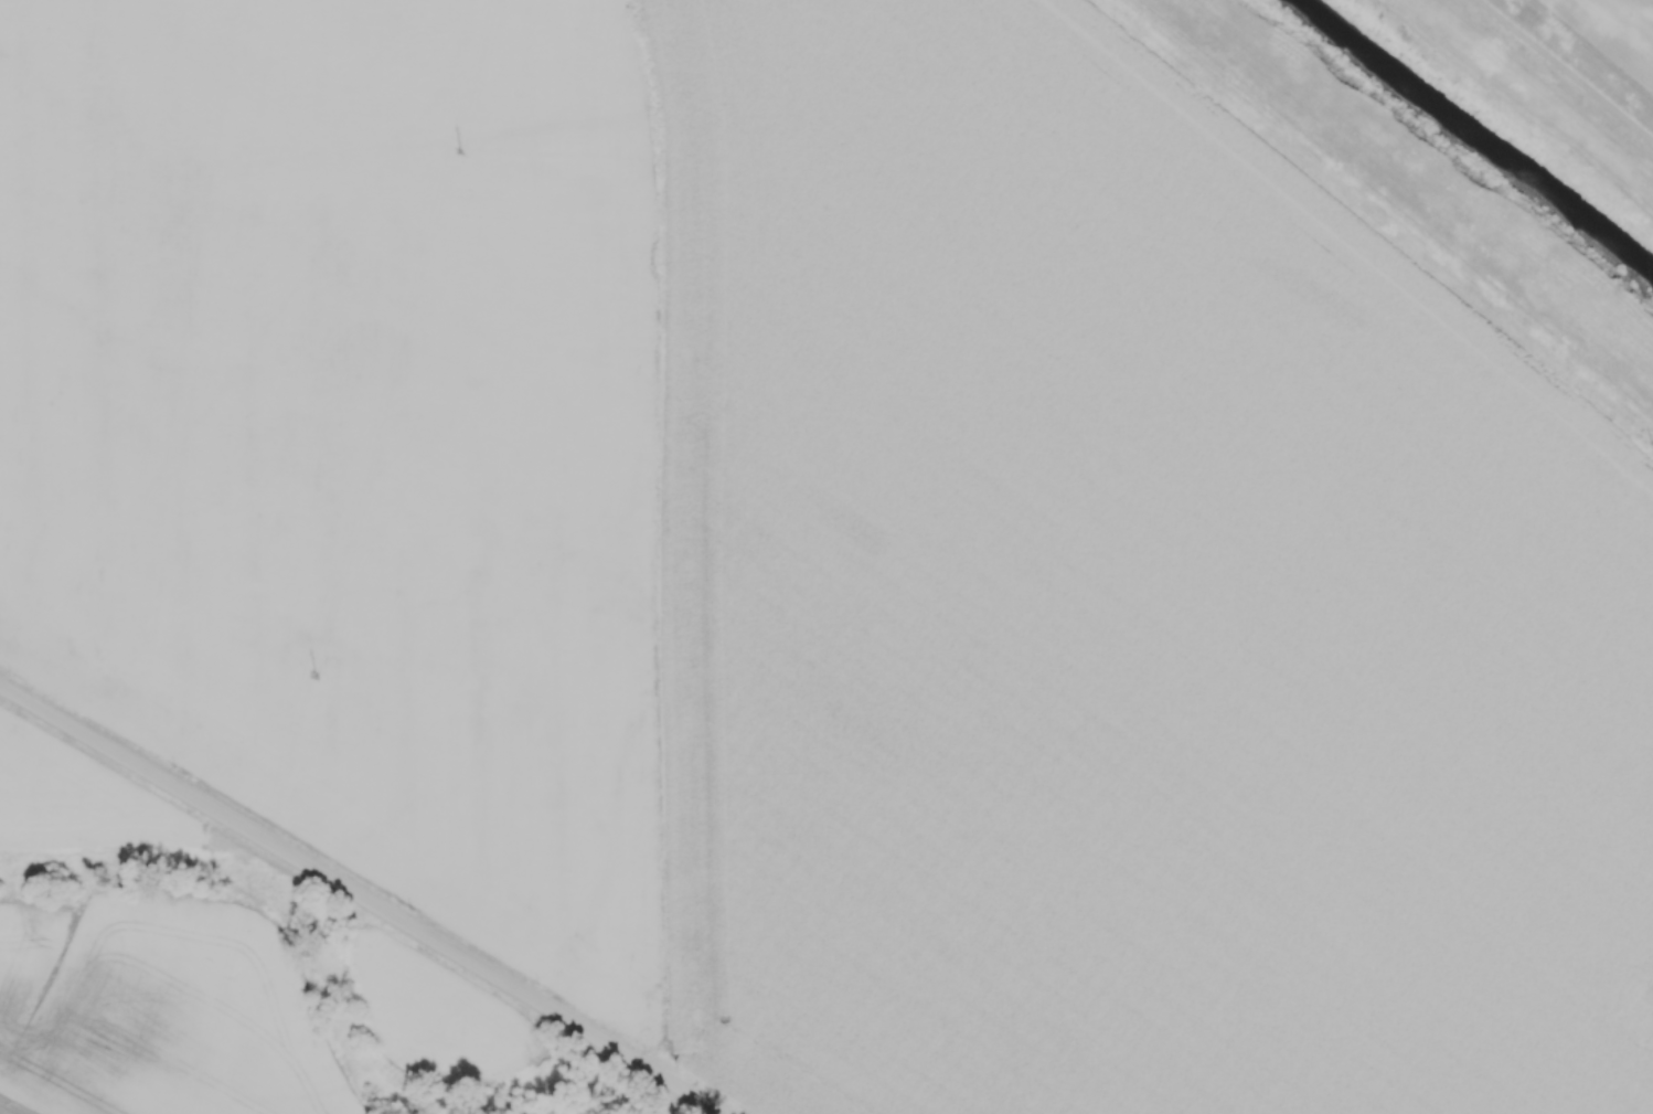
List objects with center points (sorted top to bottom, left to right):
road: (1566, 70)
river: (1473, 136)
road: (1394, 208)
crop: (835, 545)
road: (360, 899)
road: (8, 1108)

